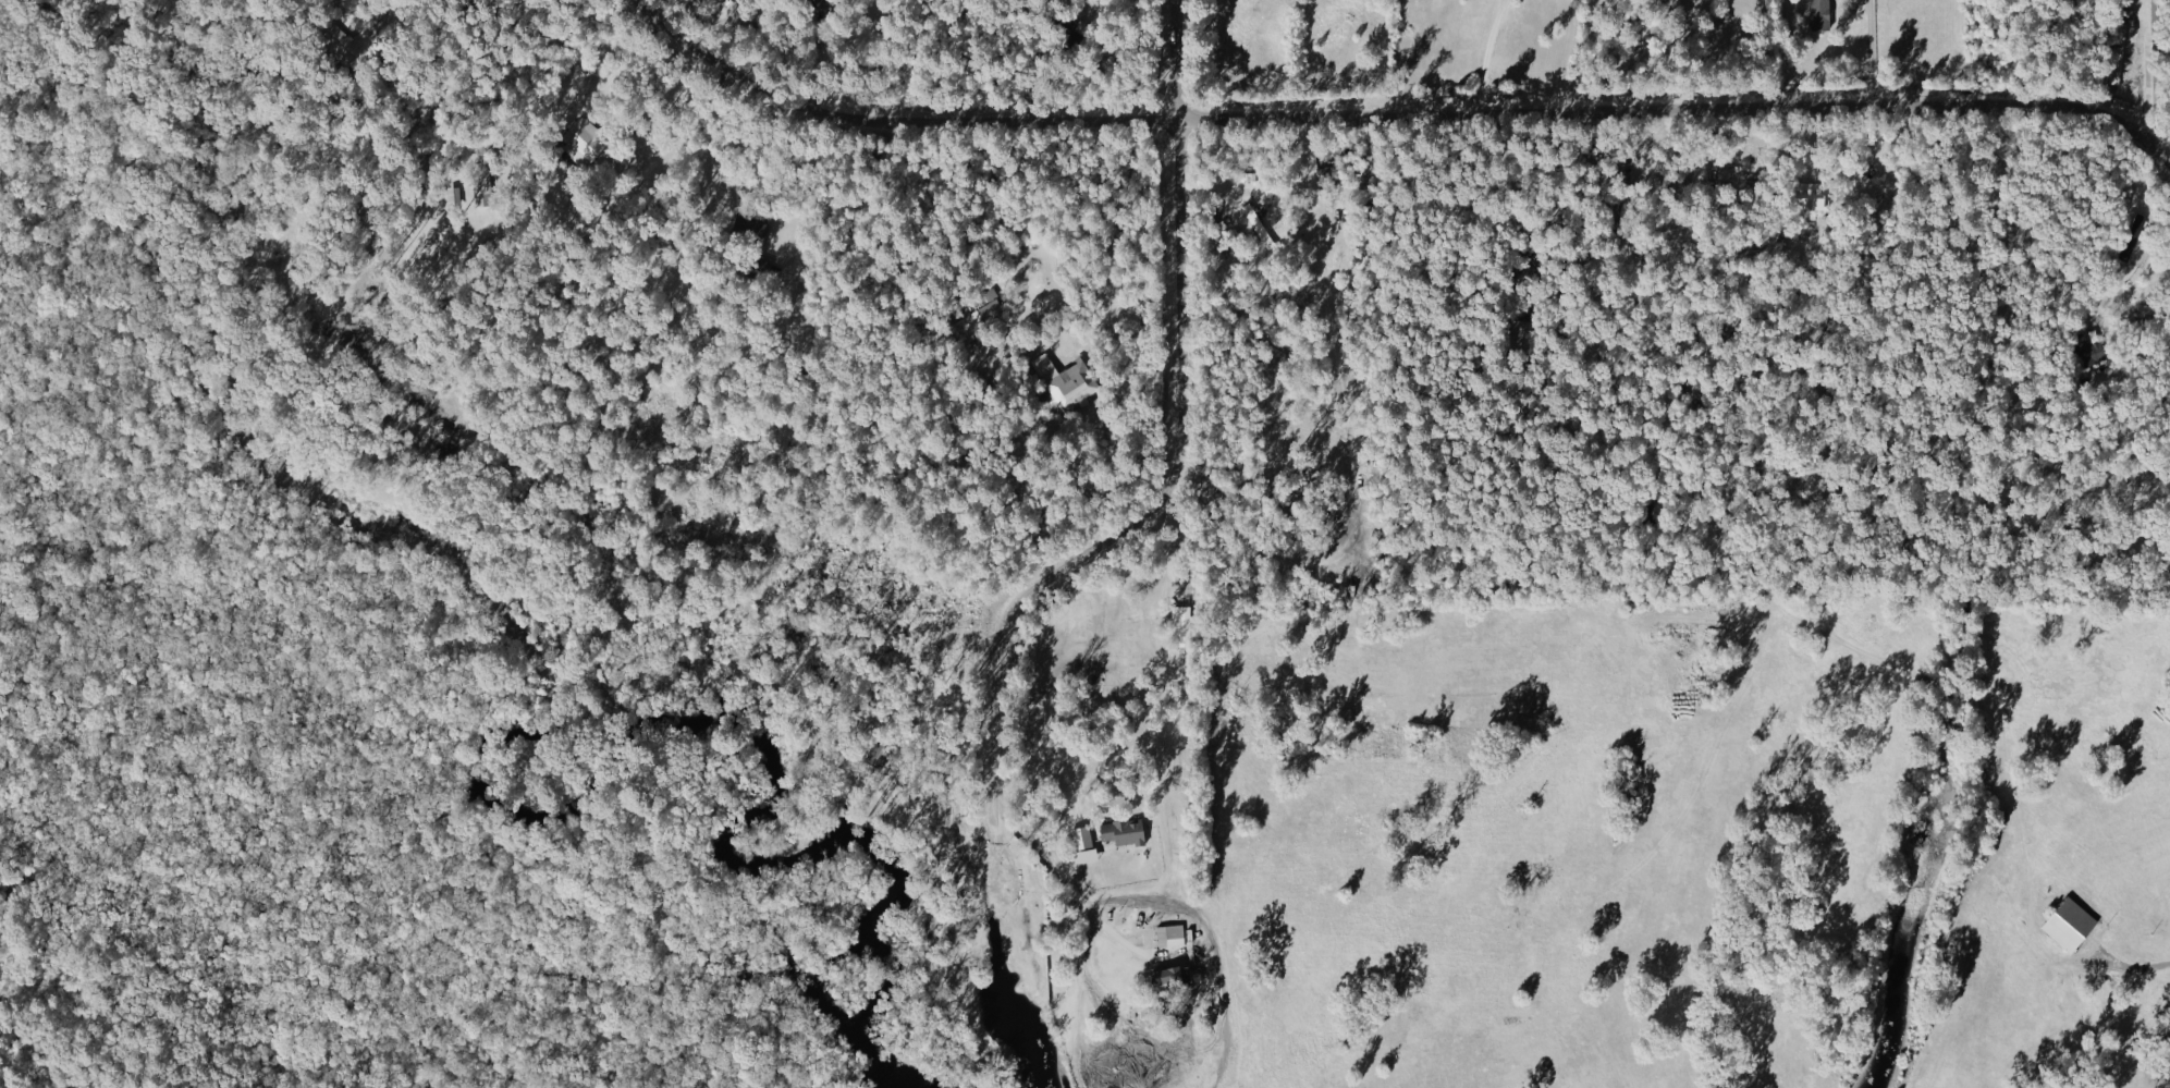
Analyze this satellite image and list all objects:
building: (1823, 14)
building: (2116, 50)
building: (342, 51)
road: (1645, 56)
road: (1873, 57)
road: (1489, 58)
road: (1388, 122)
road: (626, 129)
building: (590, 132)
road: (1842, 174)
road: (1263, 194)
building: (1812, 196)
building: (1255, 222)
road: (2134, 343)
building: (1066, 381)
road: (1150, 472)
building: (1181, 625)
river: (510, 670)
building: (1126, 832)
building: (1083, 838)
building: (2063, 921)
building: (1173, 934)
road: (2136, 965)
building: (1168, 978)

